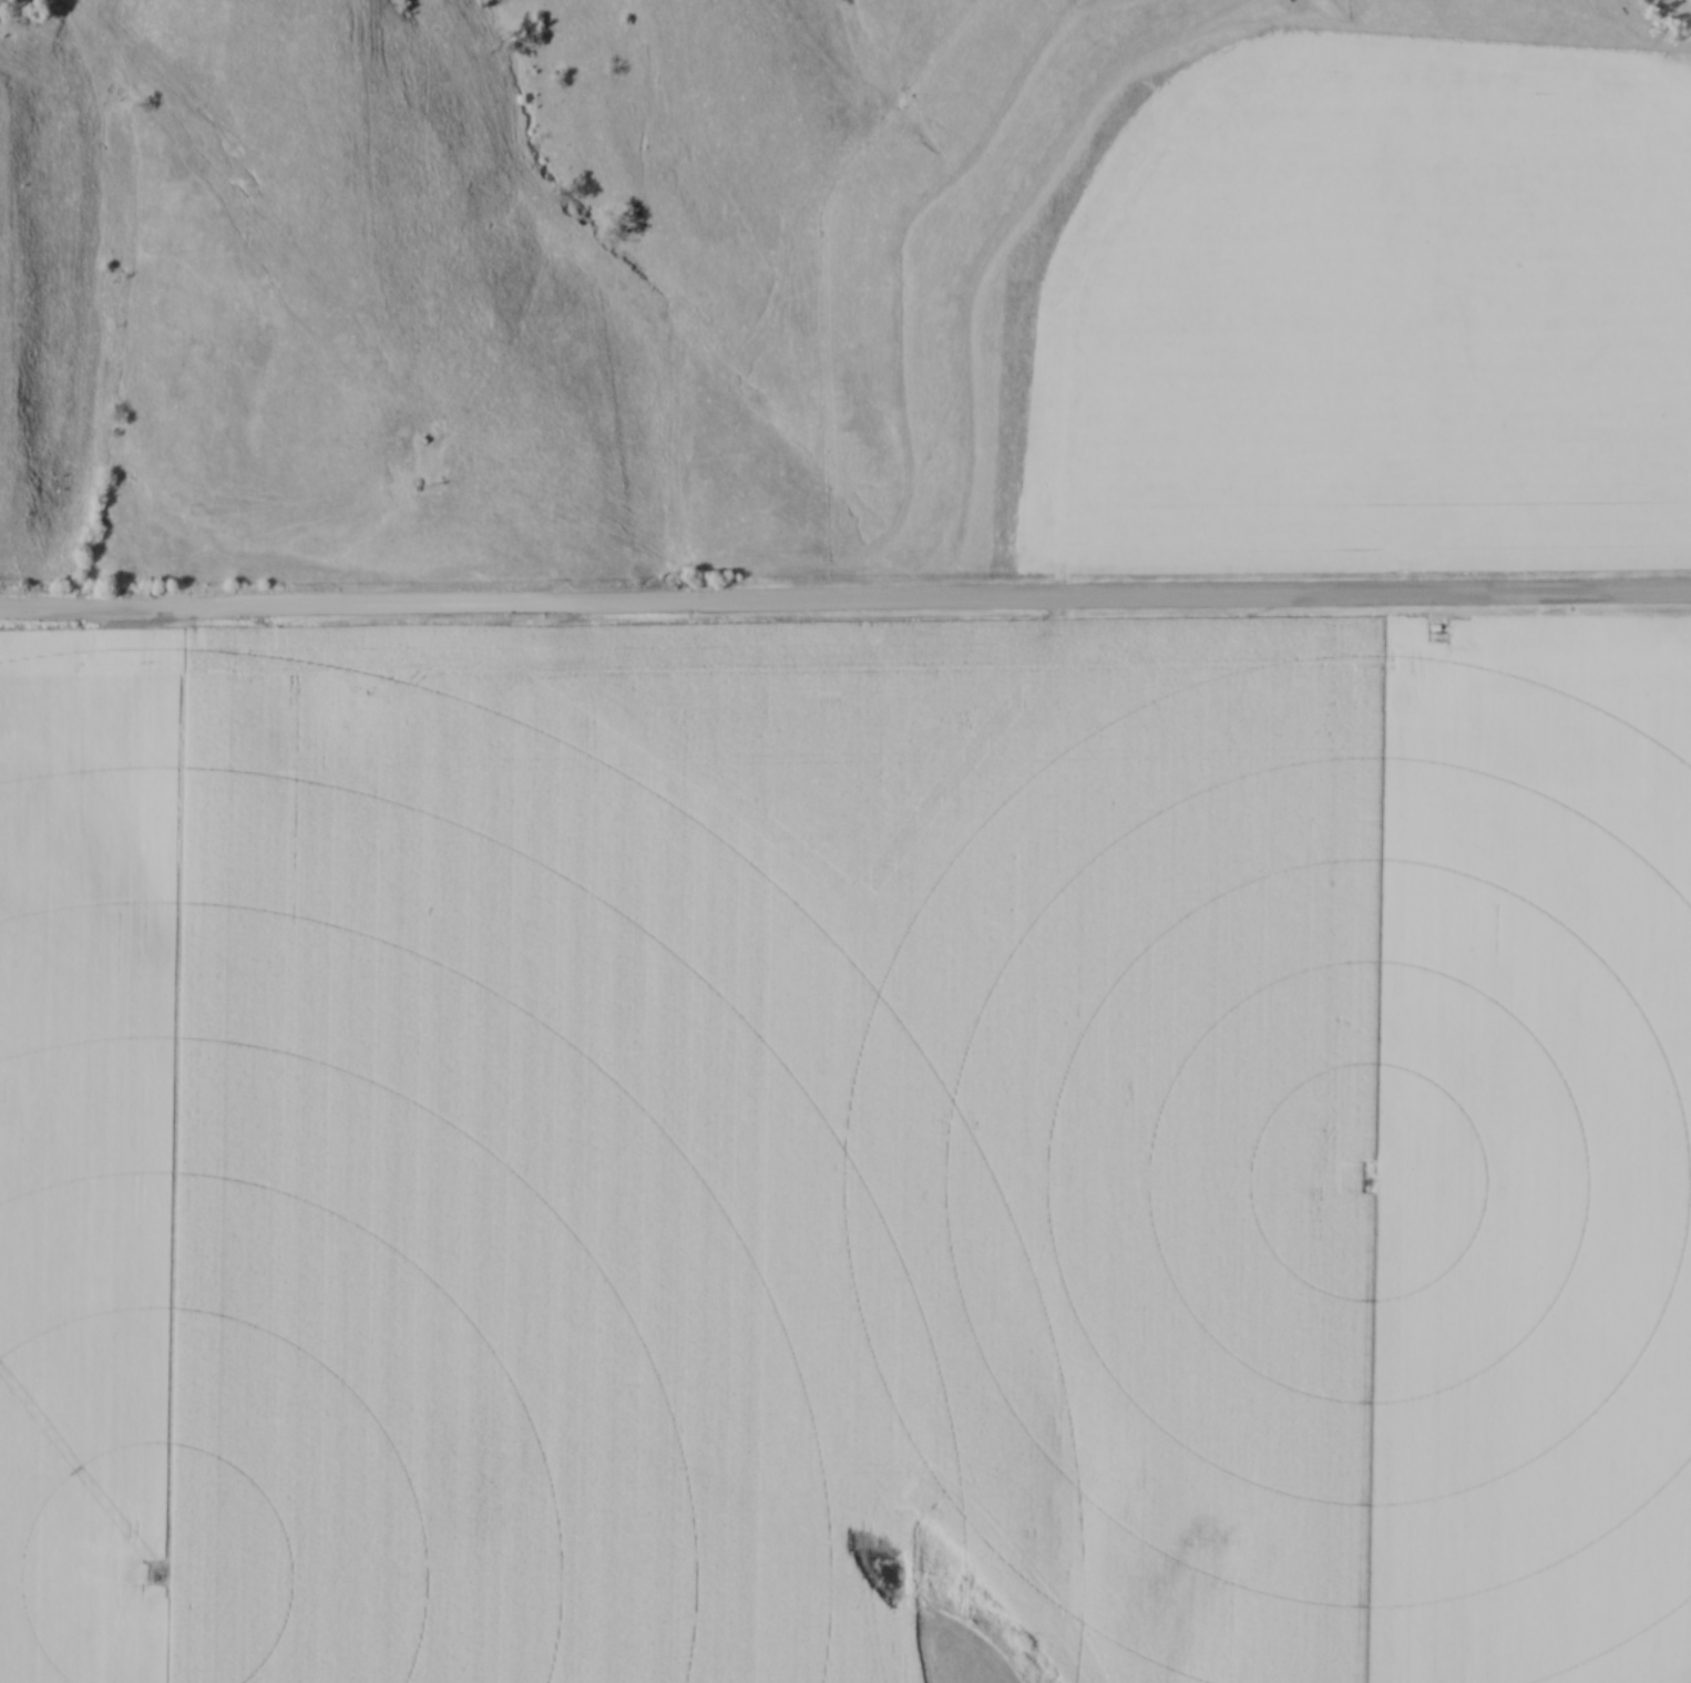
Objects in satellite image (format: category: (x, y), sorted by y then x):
road: (844, 608)

